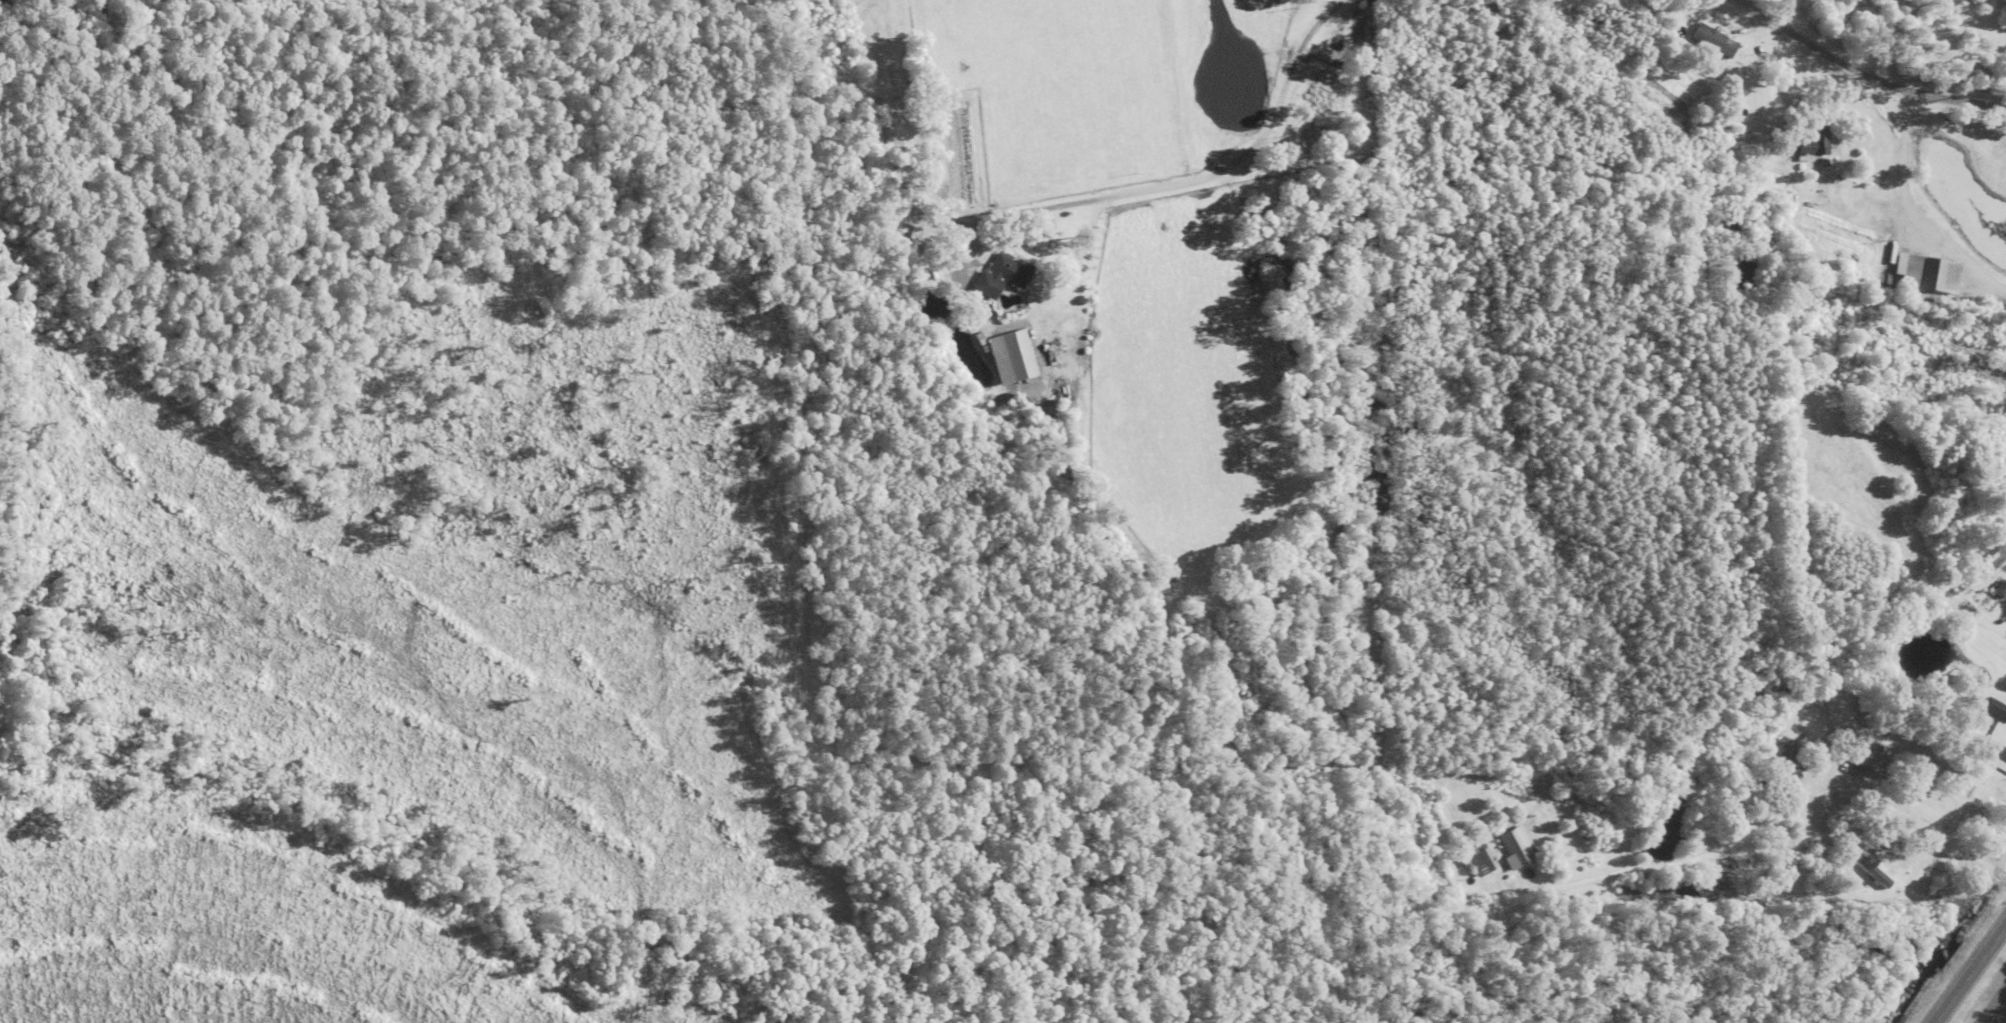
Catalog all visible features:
road: (1869, 71)
road: (1178, 178)
road: (1792, 801)
road: (1856, 838)
road: (1967, 970)
road: (1993, 1005)

